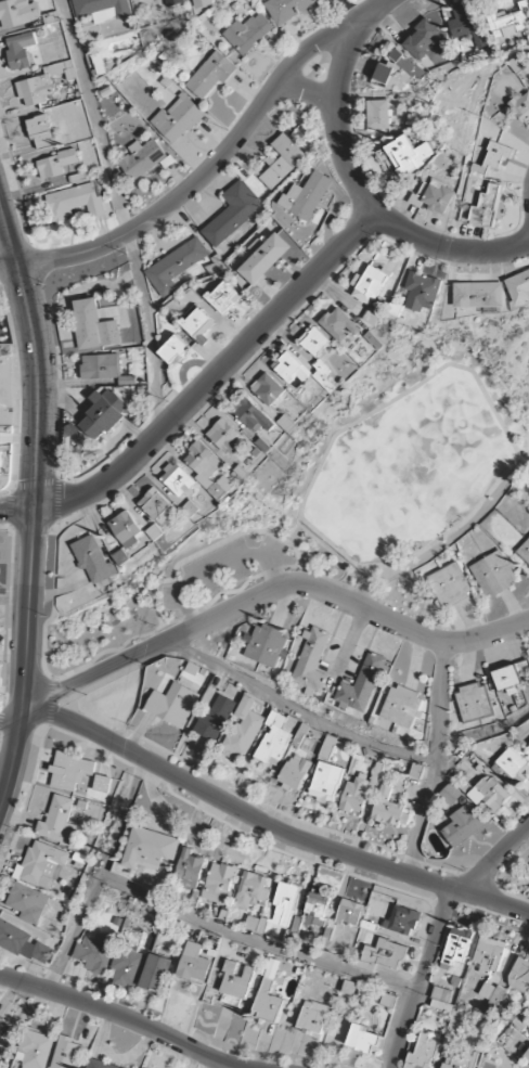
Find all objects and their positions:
building: (175, 2)
building: (203, 3)
building: (102, 9)
building: (287, 9)
building: (18, 13)
building: (511, 22)
building: (466, 23)
building: (248, 33)
building: (423, 38)
building: (20, 50)
building: (399, 72)
building: (210, 75)
road: (478, 78)
building: (43, 83)
road: (306, 94)
building: (521, 107)
building: (378, 115)
building: (177, 119)
road: (336, 120)
building: (40, 131)
building: (498, 154)
building: (409, 155)
building: (143, 158)
building: (282, 162)
building: (55, 164)
road: (212, 164)
building: (307, 196)
building: (434, 197)
building: (74, 202)
building: (486, 207)
road: (121, 214)
building: (232, 214)
road: (448, 248)
building: (263, 258)
building: (175, 266)
building: (369, 285)
building: (518, 286)
building: (422, 292)
building: (478, 295)
building: (223, 297)
building: (197, 323)
building: (339, 324)
building: (93, 326)
building: (315, 342)
building: (173, 349)
road: (36, 351)
building: (101, 366)
building: (292, 371)
road: (216, 375)
building: (268, 389)
building: (105, 414)
building: (253, 416)
road: (502, 426)
building: (223, 436)
road: (522, 445)
building: (0, 462)
building: (204, 464)
building: (179, 480)
building: (221, 488)
park: (337, 501)
road: (17, 506)
building: (157, 507)
road: (56, 516)
building: (126, 529)
road: (44, 530)
road: (300, 542)
road: (327, 550)
road: (210, 551)
building: (525, 551)
building: (95, 563)
road: (216, 567)
parking lot: (220, 570)
building: (493, 574)
building: (449, 586)
road: (363, 589)
road: (271, 592)
building: (266, 645)
road: (121, 647)
building: (311, 661)
road: (27, 662)
building: (509, 677)
building: (362, 685)
building: (473, 702)
road: (49, 703)
building: (173, 705)
building: (399, 706)
road: (298, 713)
building: (215, 719)
road: (12, 721)
building: (244, 729)
building: (274, 739)
road: (437, 762)
building: (511, 767)
building: (70, 771)
building: (295, 772)
road: (4, 775)
building: (325, 783)
building: (356, 794)
building: (489, 794)
building: (389, 809)
building: (57, 821)
building: (463, 825)
road: (270, 826)
building: (150, 849)
road: (491, 858)
building: (41, 865)
building: (189, 871)
road: (99, 876)
building: (219, 884)
building: (251, 890)
building: (27, 902)
building: (285, 904)
building: (317, 910)
building: (350, 913)
building: (402, 922)
building: (256, 924)
road: (256, 942)
building: (22, 943)
building: (457, 947)
building: (95, 952)
building: (383, 955)
building: (489, 955)
building: (194, 964)
building: (127, 967)
building: (155, 975)
building: (520, 976)
road: (423, 978)
building: (236, 981)
building: (269, 995)
building: (493, 995)
road: (17, 1015)
road: (117, 1016)
building: (0, 1018)
building: (313, 1018)
building: (363, 1040)
building: (36, 1050)
building: (423, 1052)
building: (67, 1053)
building: (527, 1057)
building: (462, 1059)
building: (99, 1065)

